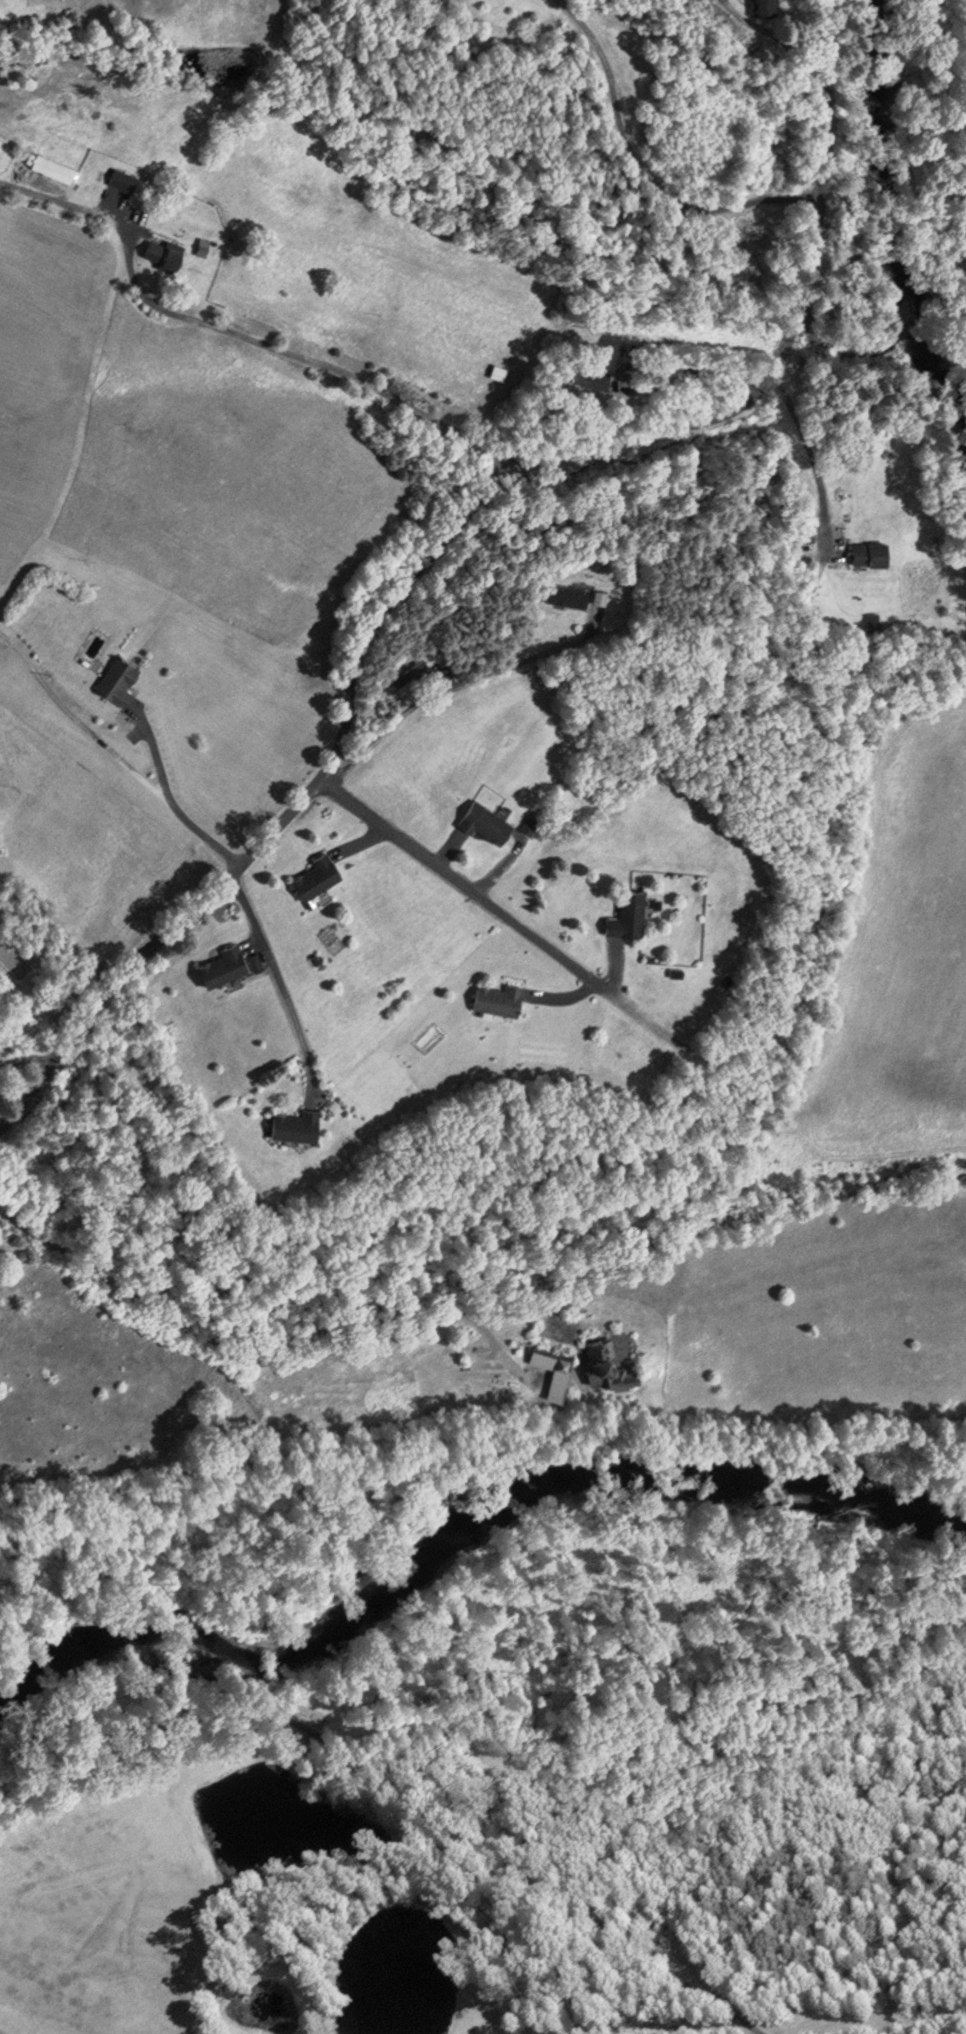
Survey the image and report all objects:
building: (760, 6)
river: (946, 27)
road: (644, 167)
building: (57, 168)
building: (125, 180)
road: (821, 196)
building: (843, 238)
building: (165, 253)
road: (243, 341)
building: (596, 374)
road: (803, 445)
road: (525, 472)
building: (873, 551)
building: (568, 593)
road: (532, 665)
building: (121, 678)
building: (398, 678)
road: (154, 756)
road: (115, 760)
building: (487, 819)
building: (319, 874)
road: (460, 888)
road: (201, 908)
building: (630, 913)
building: (225, 964)
road: (279, 985)
building: (499, 996)
building: (3, 1032)
road: (708, 1052)
building: (297, 1123)
road: (268, 1356)
building: (555, 1369)
river: (462, 1522)
road: (445, 1758)

